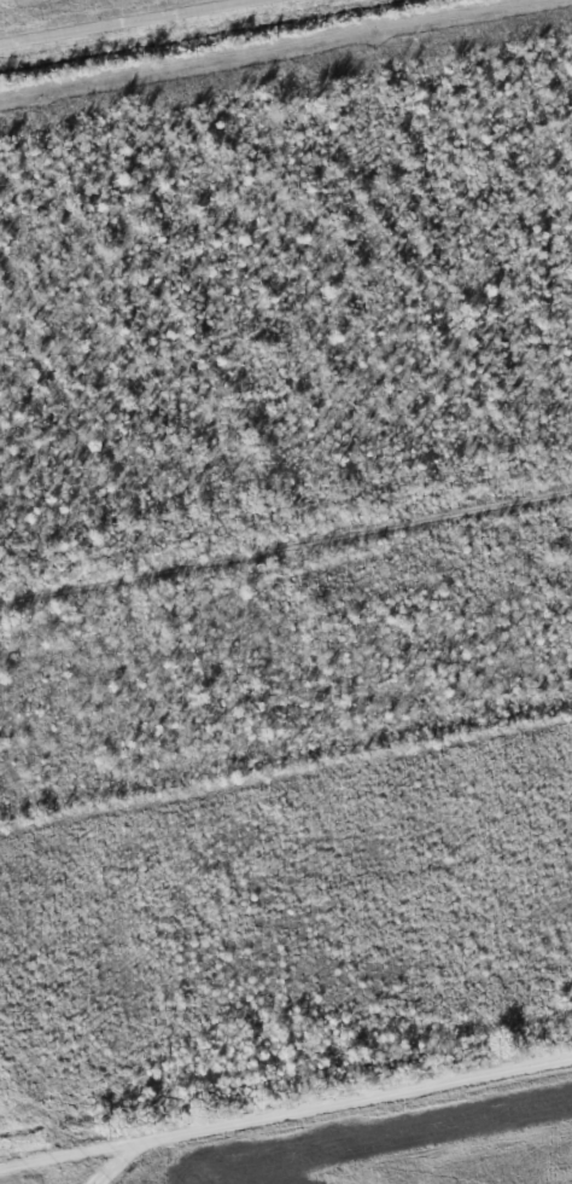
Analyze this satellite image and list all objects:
road: (135, 23)
road: (286, 1103)
road: (112, 1161)

